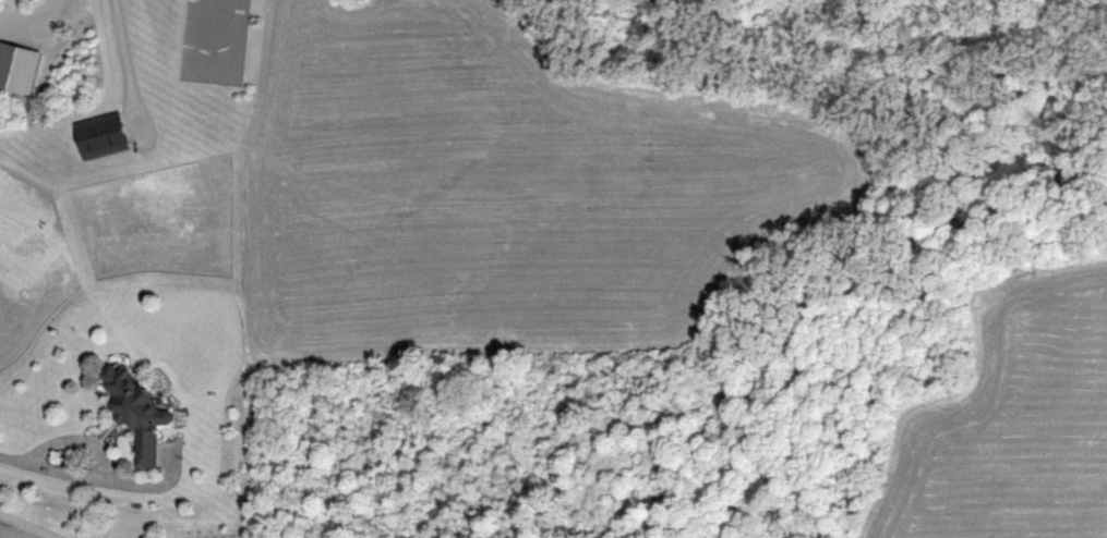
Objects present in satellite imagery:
road: (123, 50)
building: (101, 134)
building: (141, 412)
road: (15, 460)

